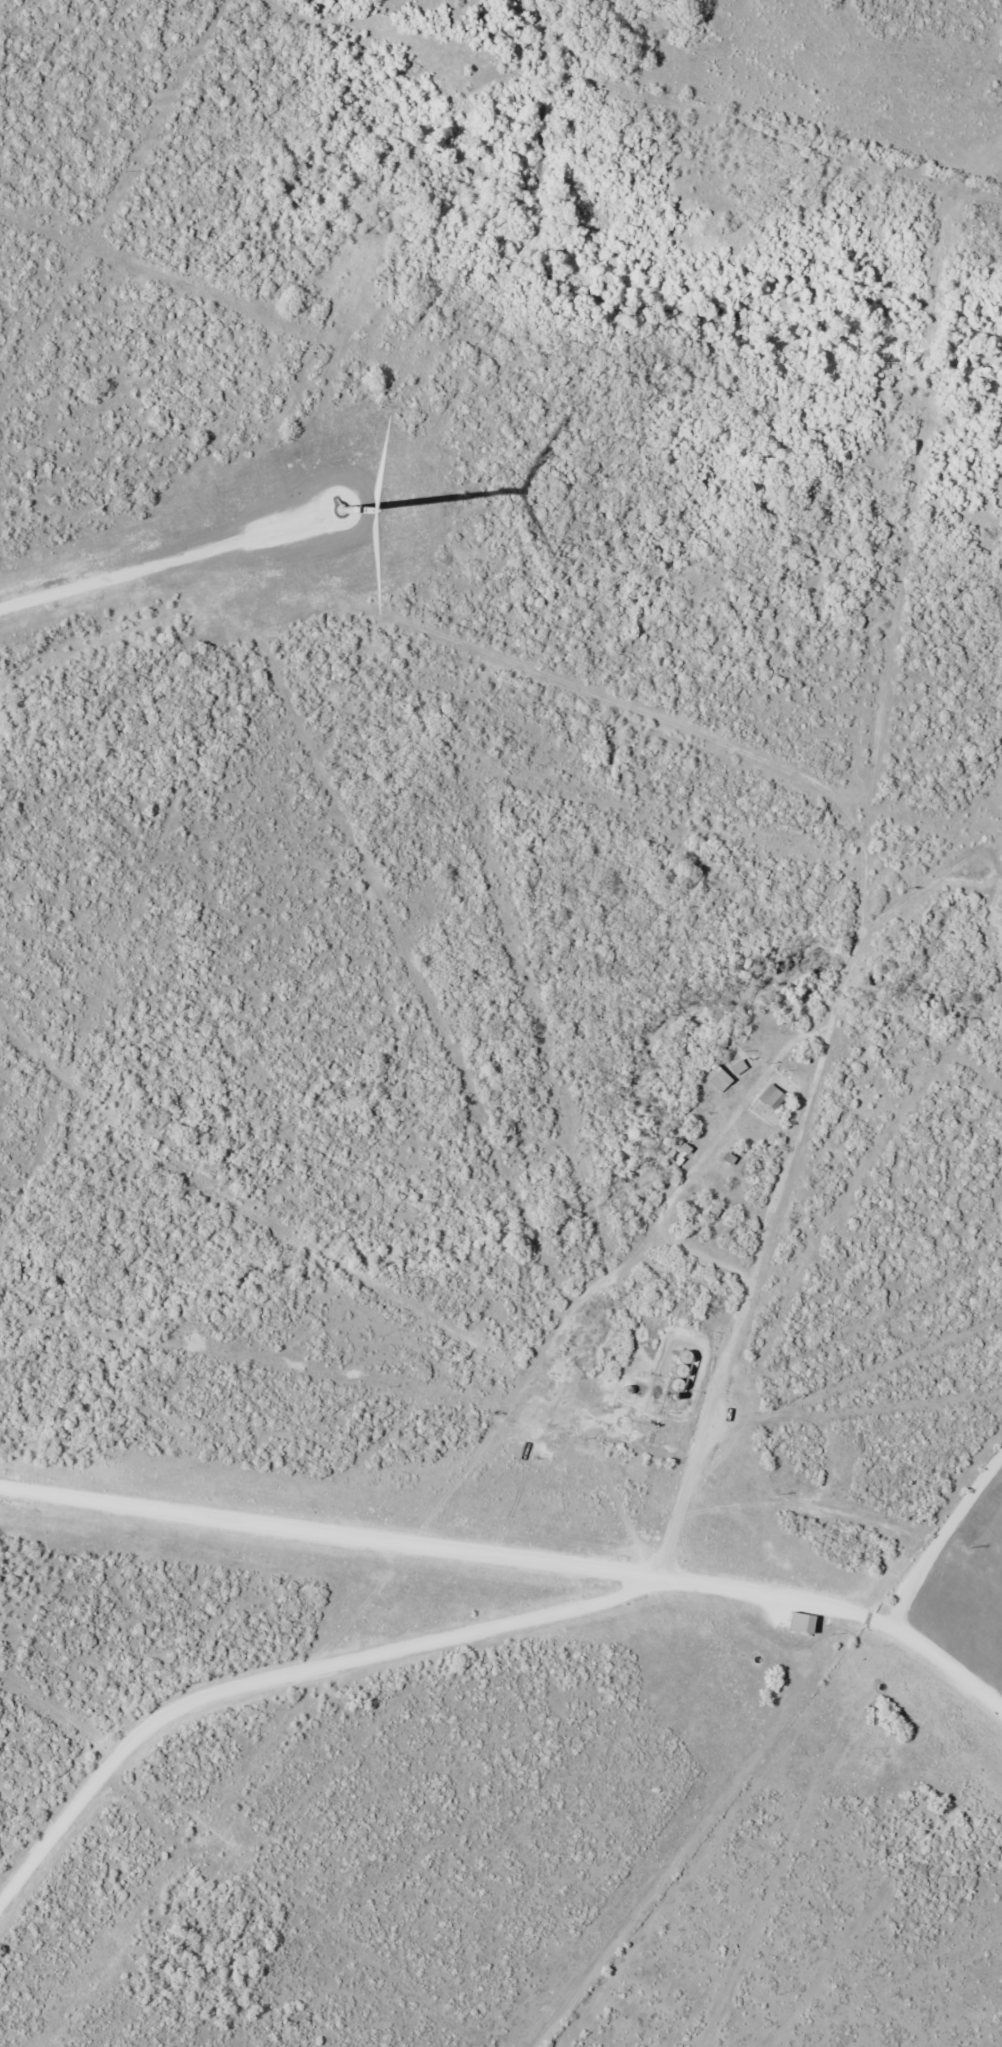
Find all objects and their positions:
road: (977, 185)
wind turbine: (346, 502)
road: (858, 854)
building: (741, 1064)
building: (722, 1080)
building: (772, 1104)
building: (753, 1132)
building: (680, 1156)
road: (515, 1557)
building: (805, 1623)
road: (291, 1676)

